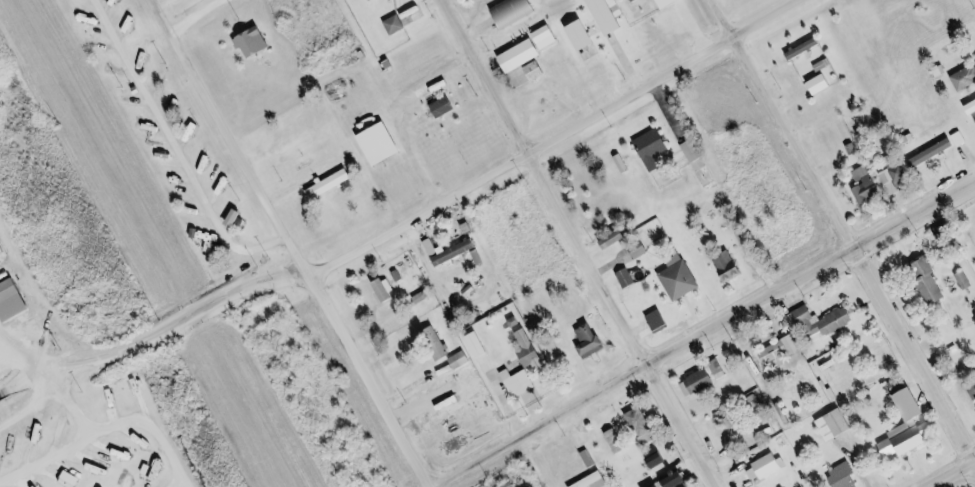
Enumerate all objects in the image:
building: (637, 0)
building: (670, 3)
building: (516, 11)
road: (197, 15)
building: (608, 16)
building: (397, 25)
building: (584, 35)
building: (547, 37)
building: (255, 42)
building: (805, 48)
building: (523, 55)
building: (537, 71)
building: (966, 78)
building: (823, 84)
building: (446, 107)
building: (972, 108)
road: (551, 138)
railway: (508, 142)
building: (383, 144)
building: (654, 148)
building: (693, 151)
building: (935, 152)
building: (898, 179)
building: (332, 183)
building: (868, 185)
road: (842, 234)
building: (617, 239)
road: (290, 243)
road: (579, 243)
building: (432, 247)
building: (4, 251)
building: (642, 251)
building: (456, 253)
building: (480, 257)
building: (730, 266)
building: (628, 278)
building: (681, 278)
building: (930, 281)
building: (966, 281)
building: (388, 291)
building: (13, 300)
building: (661, 321)
building: (824, 325)
road: (702, 333)
road: (152, 338)
building: (591, 341)
building: (437, 344)
building: (479, 345)
building: (531, 351)
building: (775, 352)
building: (462, 360)
building: (700, 382)
building: (520, 383)
building: (898, 385)
building: (973, 390)
road: (62, 405)
road: (28, 407)
building: (641, 422)
building: (836, 425)
road: (103, 427)
building: (912, 428)
building: (618, 441)
building: (14, 444)
building: (590, 458)
building: (662, 459)
building: (768, 466)
road: (954, 475)
building: (845, 476)
building: (72, 479)
building: (678, 479)
building: (596, 481)
building: (661, 485)

